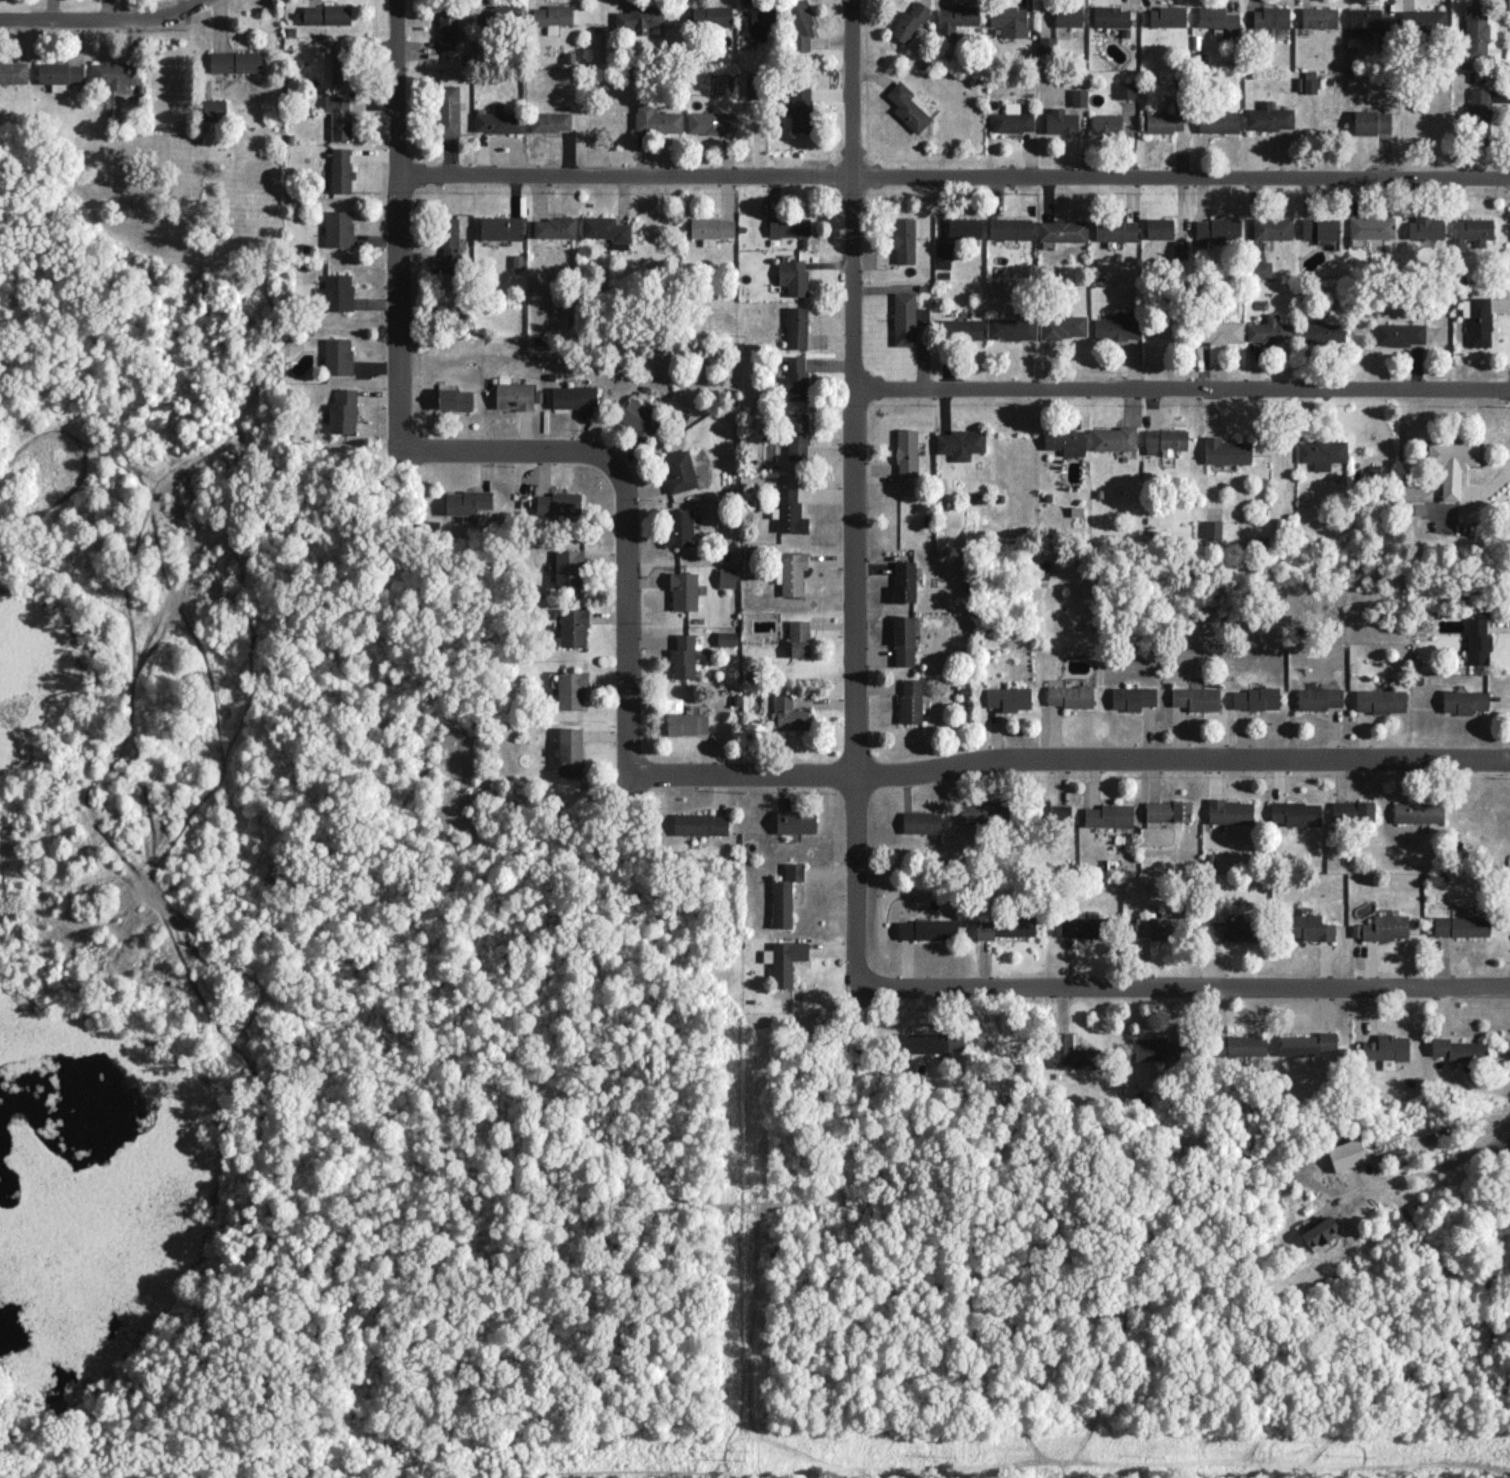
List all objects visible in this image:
building: (323, 14)
building: (500, 15)
building: (712, 15)
building: (1068, 15)
building: (1110, 15)
building: (553, 16)
building: (1168, 16)
building: (1319, 16)
road: (98, 17)
building: (957, 17)
building: (1216, 17)
building: (1270, 17)
building: (639, 18)
building: (1009, 20)
building: (910, 21)
building: (1422, 21)
building: (759, 23)
building: (1372, 24)
building: (800, 25)
building: (447, 26)
building: (1476, 32)
building: (1047, 44)
building: (341, 60)
building: (235, 61)
building: (14, 72)
building: (60, 74)
building: (116, 74)
building: (1306, 82)
building: (755, 84)
building: (1126, 89)
building: (1079, 96)
building: (908, 106)
building: (214, 109)
building: (448, 109)
building: (1480, 112)
building: (798, 113)
building: (339, 115)
building: (1268, 117)
building: (656, 119)
building: (1012, 119)
building: (1061, 120)
building: (499, 121)
building: (551, 121)
building: (712, 121)
building: (1219, 121)
building: (1372, 121)
building: (1164, 122)
building: (1107, 123)
building: (341, 170)
road: (952, 178)
road: (396, 221)
building: (789, 226)
building: (1372, 226)
building: (501, 227)
building: (554, 227)
building: (964, 227)
building: (1159, 227)
building: (1272, 227)
building: (1427, 227)
building: (339, 228)
building: (1010, 228)
building: (1218, 228)
building: (1320, 228)
building: (606, 230)
building: (1063, 230)
building: (1116, 230)
building: (1472, 232)
building: (904, 240)
building: (450, 244)
building: (1180, 248)
building: (944, 255)
building: (1260, 268)
building: (793, 276)
building: (336, 292)
building: (907, 317)
building: (1478, 319)
building: (1063, 325)
building: (796, 327)
building: (1116, 327)
building: (961, 328)
building: (1011, 328)
building: (1269, 330)
building: (1219, 331)
building: (1322, 332)
building: (1400, 333)
building: (338, 355)
building: (794, 379)
road: (1182, 388)
building: (574, 395)
building: (516, 396)
building: (455, 398)
building: (343, 411)
building: (639, 417)
building: (798, 436)
building: (1114, 438)
building: (1065, 440)
building: (1165, 440)
building: (959, 443)
road: (512, 448)
building: (1225, 450)
building: (907, 451)
building: (1322, 452)
building: (1452, 463)
building: (680, 470)
road: (855, 490)
building: (467, 501)
building: (558, 503)
building: (790, 511)
building: (680, 527)
building: (1212, 528)
building: (569, 567)
building: (791, 572)
building: (727, 577)
building: (904, 580)
building: (684, 590)
road: (627, 616)
building: (573, 627)
building: (727, 637)
building: (799, 637)
building: (904, 640)
building: (1478, 641)
building: (684, 656)
building: (571, 689)
building: (1070, 695)
building: (1322, 695)
building: (1009, 697)
building: (1132, 697)
building: (1196, 697)
building: (1256, 698)
building: (911, 700)
building: (1380, 700)
building: (1464, 701)
building: (788, 713)
building: (687, 723)
building: (570, 751)
road: (1071, 756)
building: (1168, 810)
building: (984, 811)
building: (1053, 811)
building: (1230, 811)
building: (1353, 811)
building: (1418, 811)
building: (1295, 813)
building: (1109, 815)
building: (796, 821)
building: (921, 821)
building: (701, 823)
building: (785, 895)
building: (1461, 925)
building: (1005, 926)
building: (1083, 926)
building: (1309, 927)
building: (1383, 927)
building: (1156, 928)
building: (927, 929)
building: (1230, 929)
building: (784, 960)
road: (1183, 986)
building: (932, 1042)
building: (1308, 1044)
building: (1238, 1045)
building: (1156, 1048)
building: (1386, 1049)
building: (1459, 1049)
building: (1073, 1052)
road: (1438, 1167)
building: (1319, 1231)

